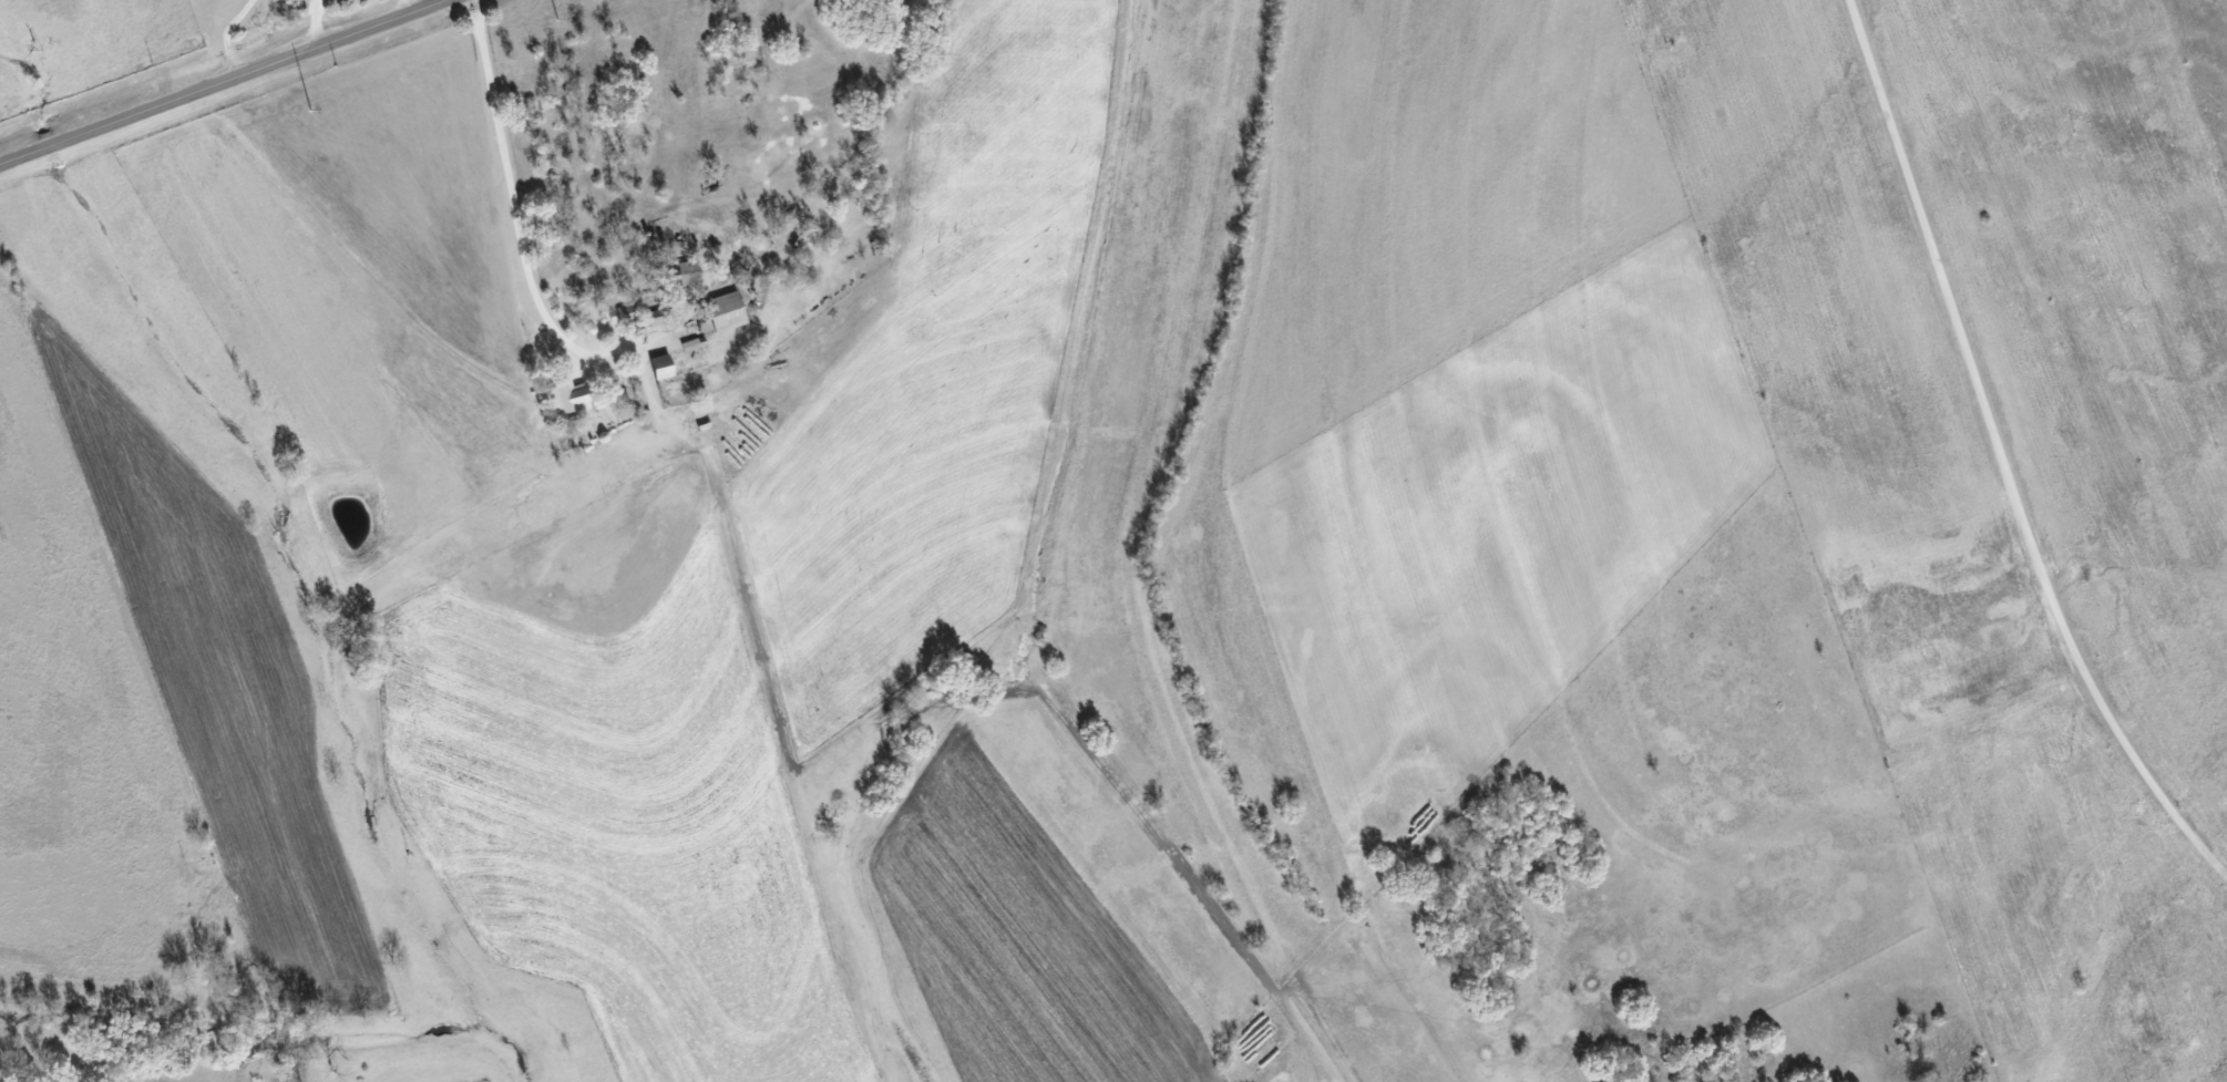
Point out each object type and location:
road: (403, 7)
road: (459, 13)
power tower: (554, 21)
road: (314, 23)
road: (223, 35)
road: (222, 82)
power tower: (307, 111)
road: (513, 195)
building: (729, 310)
building: (663, 367)
building: (572, 396)
road: (2007, 450)

